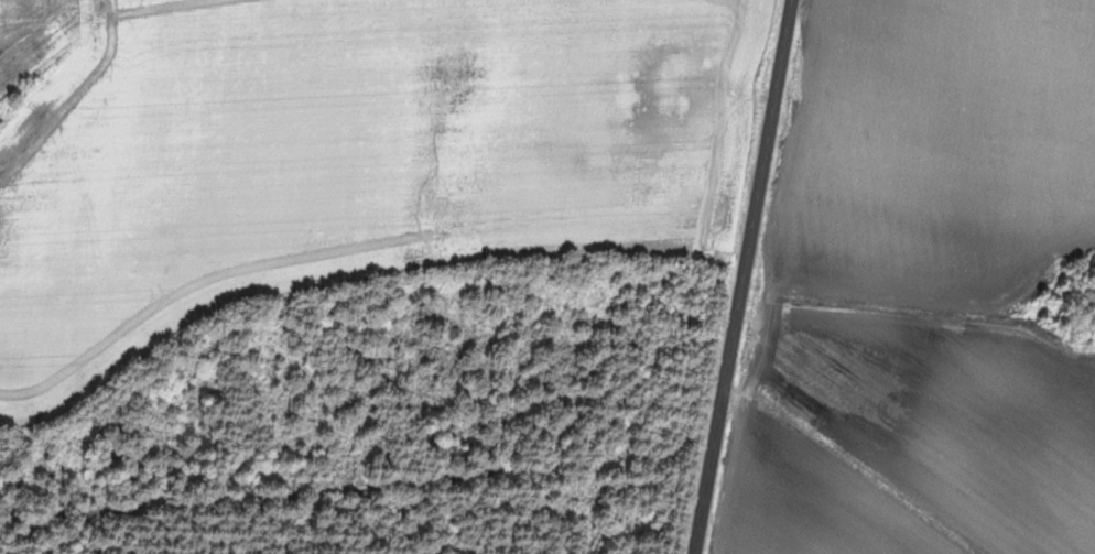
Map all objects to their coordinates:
road: (746, 276)

